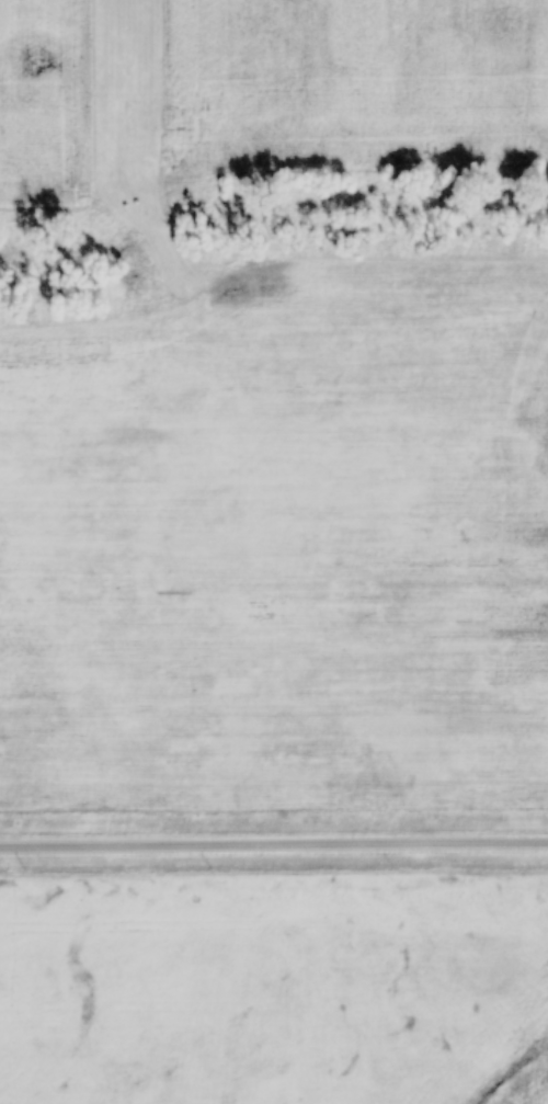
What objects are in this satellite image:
road: (274, 844)

